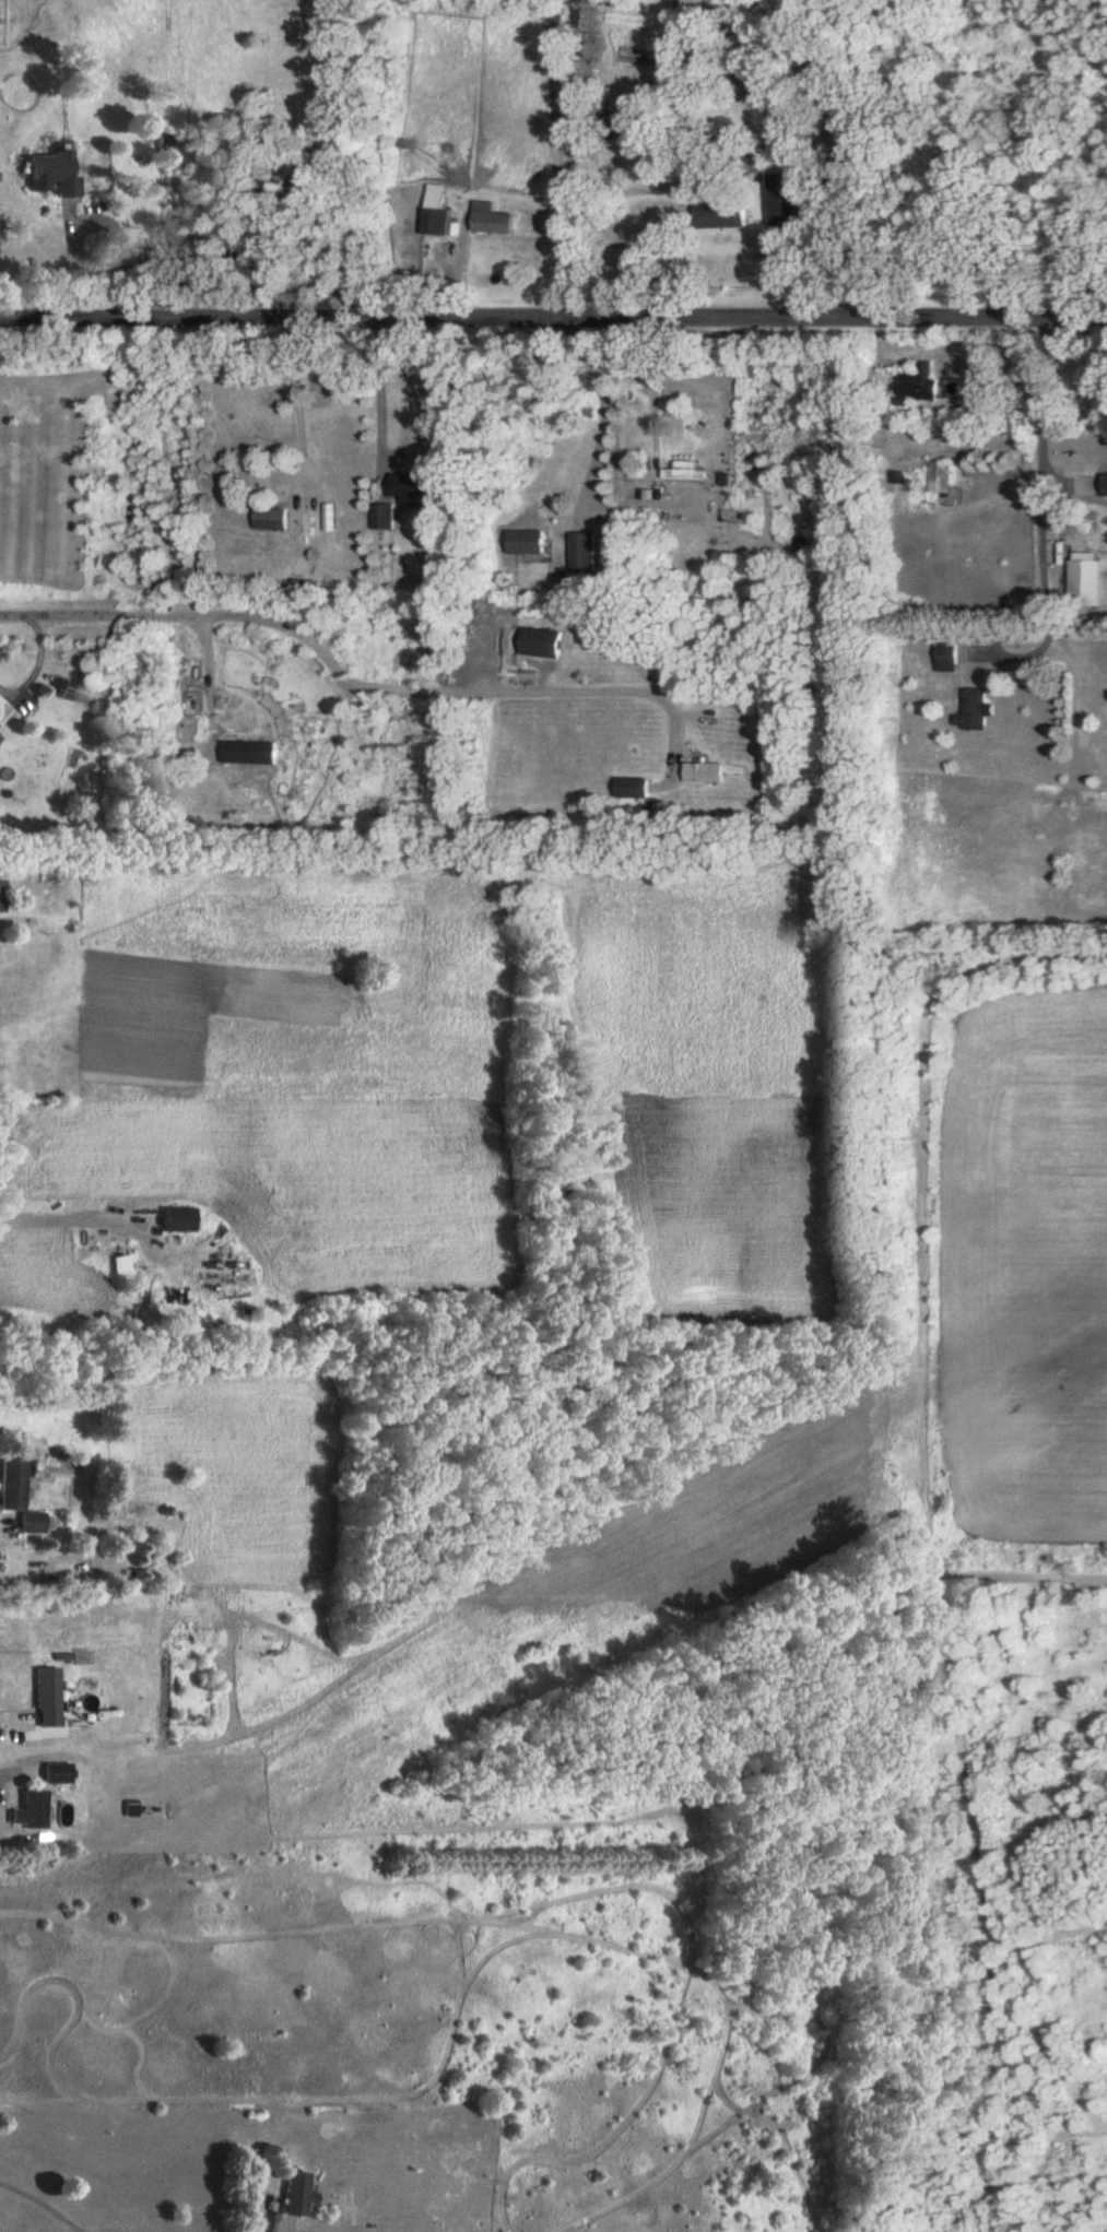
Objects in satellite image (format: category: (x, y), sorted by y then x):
building: (51, 170)
building: (782, 199)
building: (434, 210)
building: (717, 215)
building: (488, 219)
road: (111, 243)
road: (553, 320)
building: (915, 386)
road: (381, 403)
road: (295, 404)
road: (607, 409)
road: (1039, 461)
building: (683, 471)
building: (940, 473)
building: (410, 484)
building: (1104, 485)
building: (379, 517)
building: (269, 518)
building: (523, 541)
building: (580, 550)
building: (1082, 578)
road: (212, 614)
road: (1067, 634)
building: (539, 641)
building: (944, 657)
road: (568, 688)
building: (970, 709)
building: (247, 752)
building: (702, 771)
building: (628, 787)
building: (1, 895)
road: (67, 1217)
building: (175, 1218)
building: (119, 1263)
building: (12, 1485)
building: (32, 1522)
building: (47, 1697)
road: (11, 1716)
road: (14, 1769)
building: (56, 1771)
building: (28, 1809)
building: (292, 2193)
road: (47, 2204)
road: (293, 2230)

